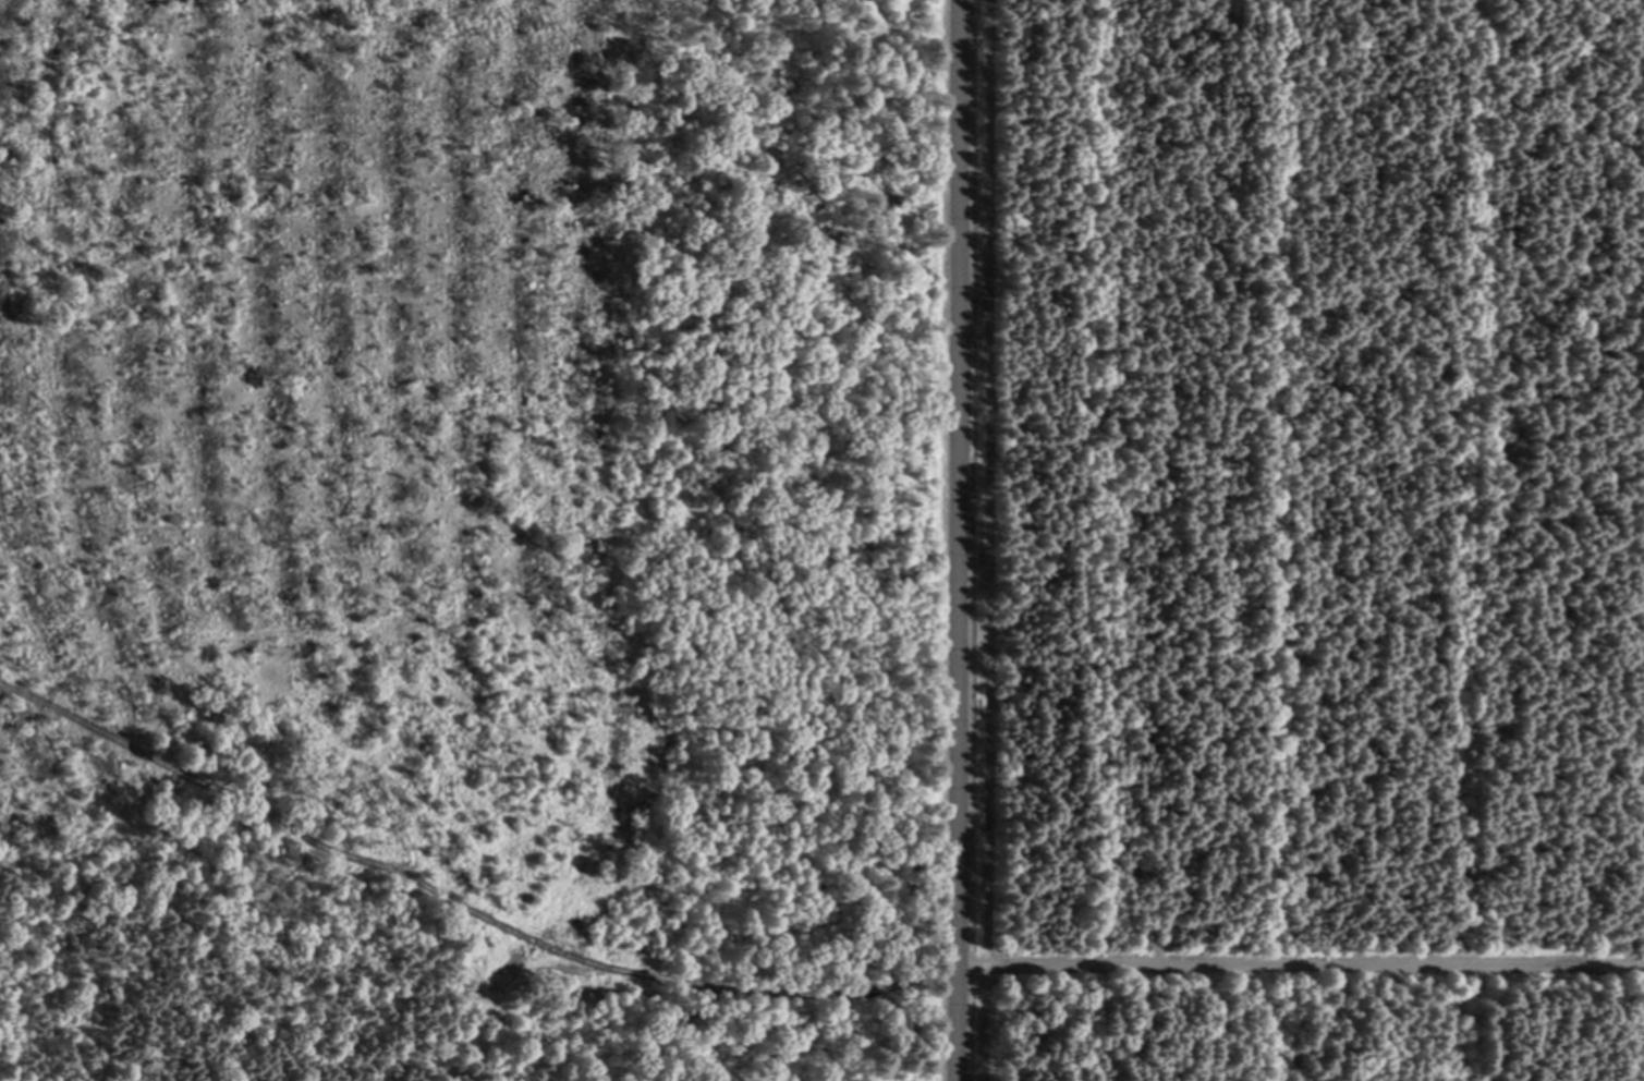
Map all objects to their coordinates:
road: (960, 540)
road: (1302, 962)

